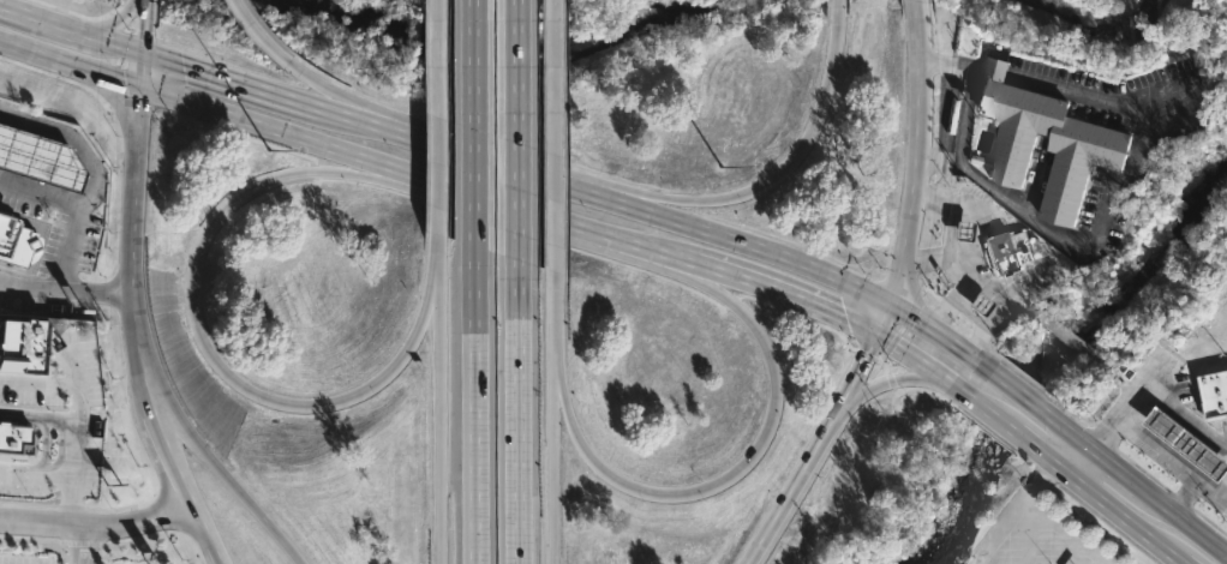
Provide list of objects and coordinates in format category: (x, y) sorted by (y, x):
road: (834, 2)
road: (40, 13)
road: (113, 24)
road: (144, 26)
road: (257, 32)
road: (112, 42)
traffic signals: (145, 53)
road: (72, 64)
road: (144, 70)
road: (232, 78)
traffic signals: (144, 88)
road: (330, 91)
road: (345, 112)
road: (435, 116)
road: (1143, 121)
road: (473, 124)
road: (517, 130)
road: (279, 131)
road: (553, 136)
road: (72, 137)
road: (430, 138)
road: (808, 139)
building: (1087, 144)
gas station: (37, 156)
road: (916, 169)
road: (383, 174)
road: (556, 179)
road: (451, 186)
road: (657, 200)
road: (571, 224)
building: (963, 232)
road: (134, 234)
road: (70, 235)
gas station: (16, 241)
road: (435, 241)
road: (928, 251)
building: (1013, 251)
road: (674, 257)
road: (965, 266)
road: (688, 272)
road: (825, 272)
road: (553, 280)
road: (95, 290)
road: (429, 290)
road: (788, 294)
road: (948, 298)
traffic signals: (890, 302)
road: (966, 311)
traffic signals: (879, 335)
road: (203, 336)
building: (22, 343)
road: (558, 358)
road: (932, 371)
road: (891, 379)
road: (62, 383)
road: (1147, 390)
building: (1215, 394)
road: (439, 406)
road: (475, 406)
road: (1027, 406)
road: (517, 412)
road: (170, 413)
road: (553, 425)
road: (994, 426)
building: (13, 437)
road: (1069, 438)
building: (1189, 439)
gas station: (1189, 439)
road: (70, 440)
road: (167, 444)
road: (1020, 446)
road: (816, 451)
road: (1169, 462)
road: (1077, 467)
road: (1049, 468)
road: (741, 469)
road: (34, 473)
road: (1113, 473)
road: (1209, 493)
road: (249, 502)
road: (1008, 511)
road: (1121, 522)
road: (98, 523)
road: (1183, 526)
road: (1064, 530)
road: (1028, 533)
road: (209, 534)
road: (84, 545)
road: (1071, 550)
road: (978, 552)

